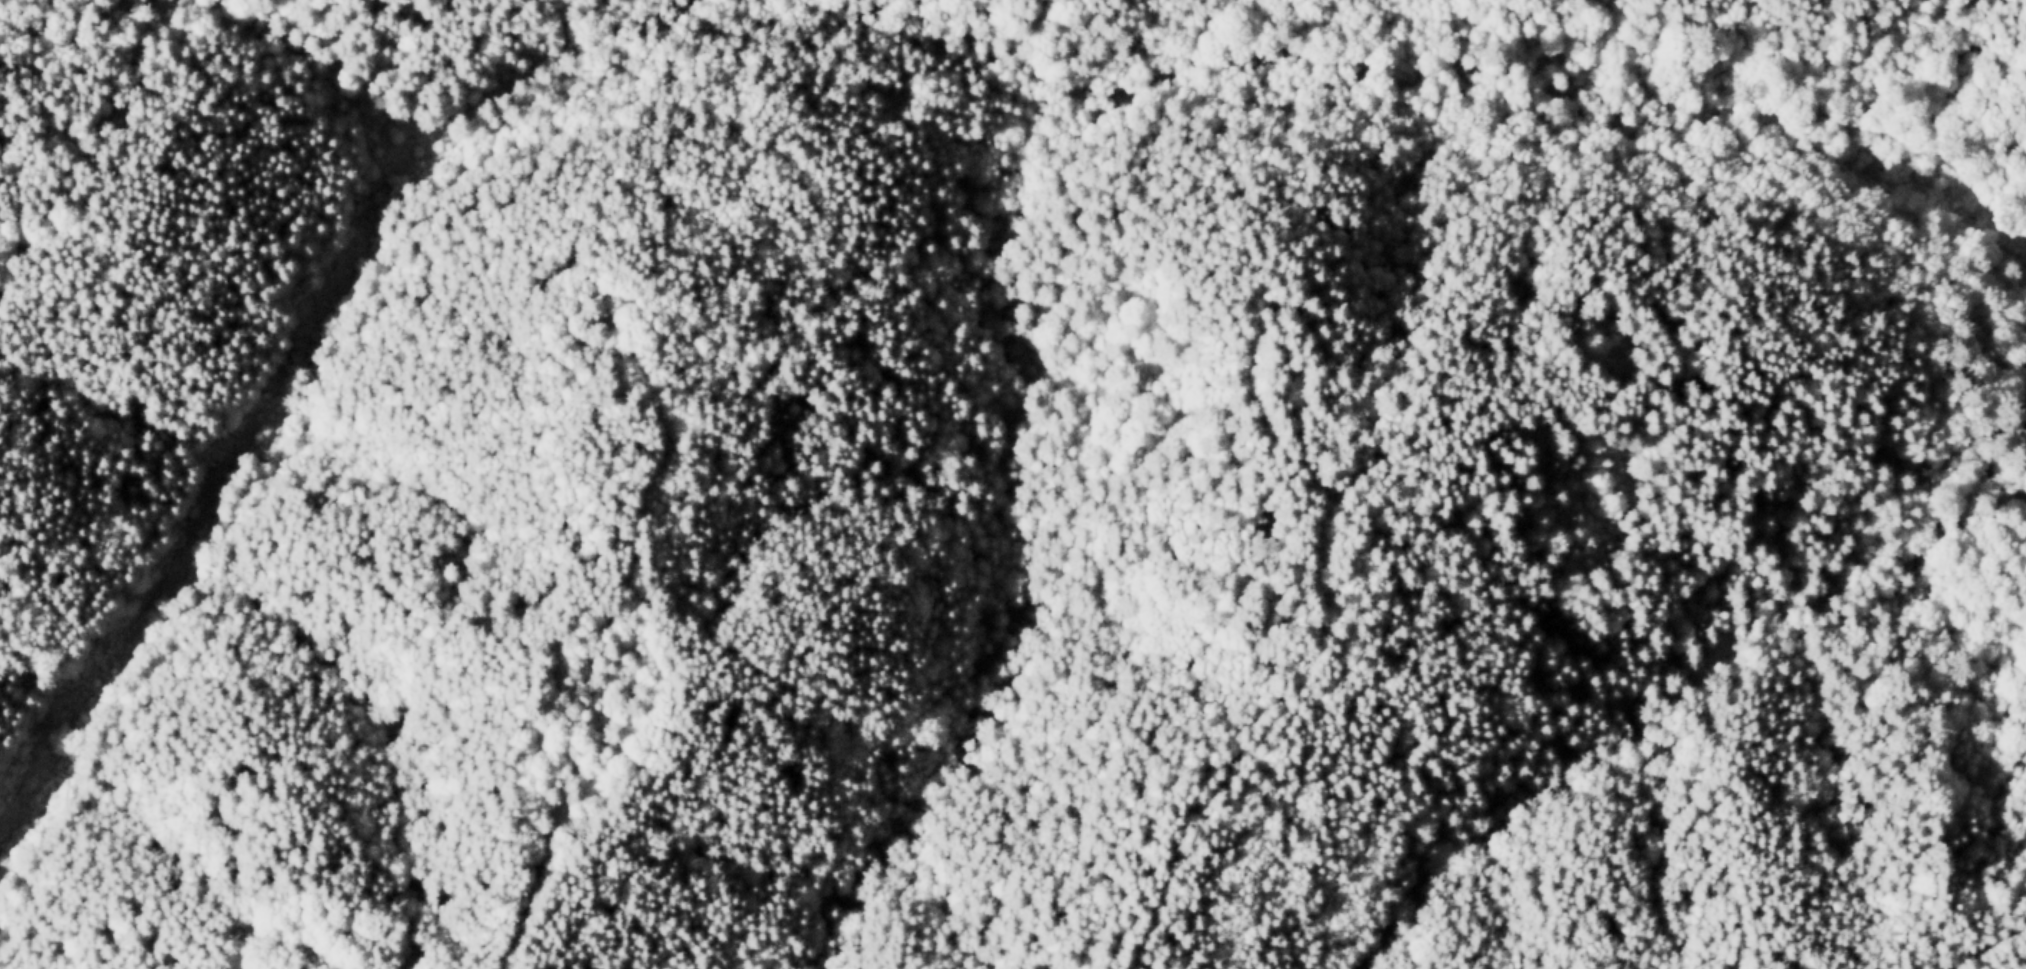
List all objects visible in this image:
road: (29, 194)
road: (1473, 402)
road: (649, 636)
road: (1304, 661)
road: (1980, 934)

